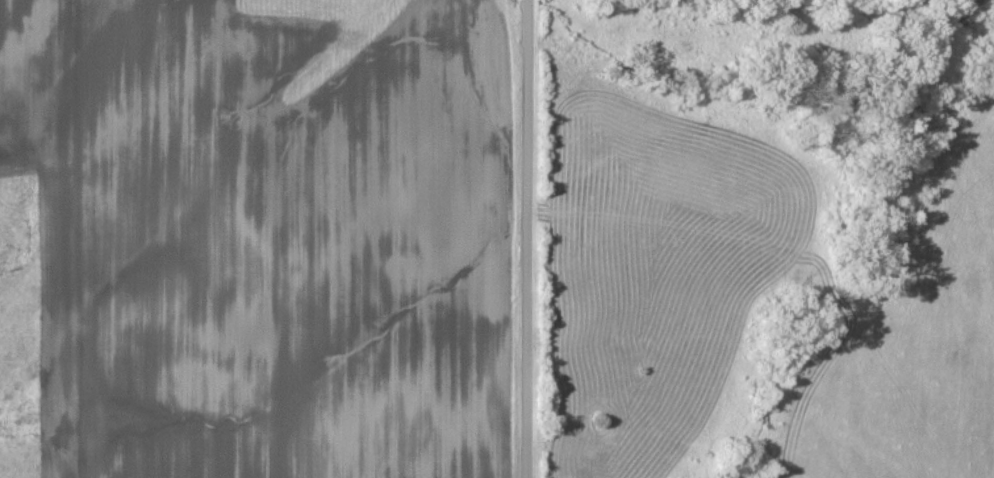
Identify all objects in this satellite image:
road: (523, 239)

